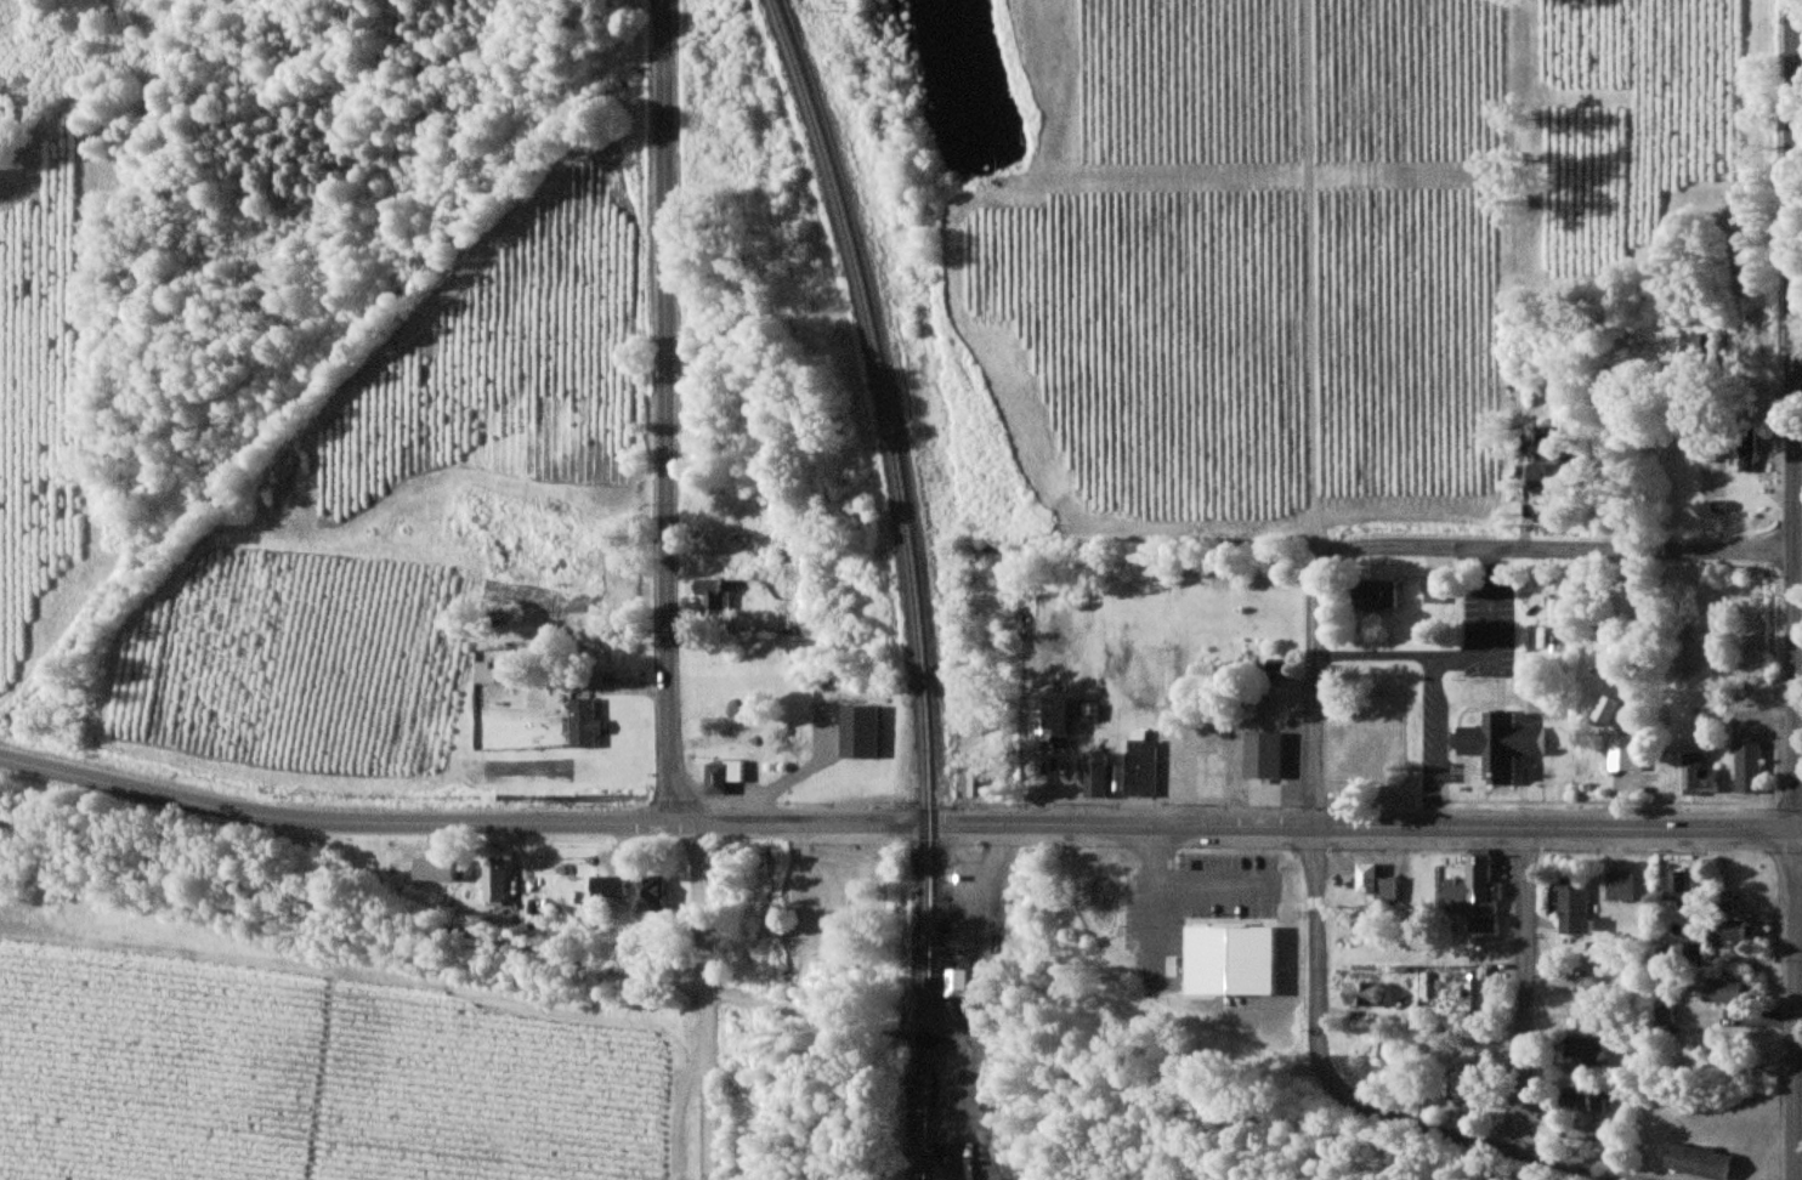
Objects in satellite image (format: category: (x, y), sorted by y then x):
building: (1695, 340)
road: (671, 412)
road: (1795, 413)
building: (1542, 458)
road: (1568, 546)
railway: (916, 580)
building: (1430, 590)
building: (712, 592)
building: (1372, 592)
building: (1551, 612)
building: (1541, 636)
building: (1088, 710)
building: (1609, 711)
building: (1045, 714)
building: (582, 722)
building: (856, 730)
building: (1497, 743)
building: (1623, 751)
building: (1273, 766)
building: (1746, 766)
building: (1134, 767)
building: (1093, 773)
building: (721, 775)
building: (1696, 775)
building: (976, 778)
road: (897, 824)
road: (1317, 828)
building: (430, 868)
building: (491, 880)
building: (1375, 881)
building: (605, 885)
building: (1677, 885)
building: (1617, 886)
building: (648, 893)
building: (1473, 893)
building: (1723, 901)
building: (1571, 908)
building: (1724, 931)
building: (1693, 953)
building: (1226, 959)
building: (1571, 980)
building: (954, 981)
building: (1475, 988)
road: (1524, 988)
building: (1725, 989)
building: (1360, 992)
road: (704, 999)
road: (754, 1002)
road: (1795, 1003)
road: (1121, 1006)
building: (1665, 1014)
building: (1582, 1048)
building: (1458, 1084)
road: (1798, 1111)
road: (1487, 1140)
building: (1695, 1161)

